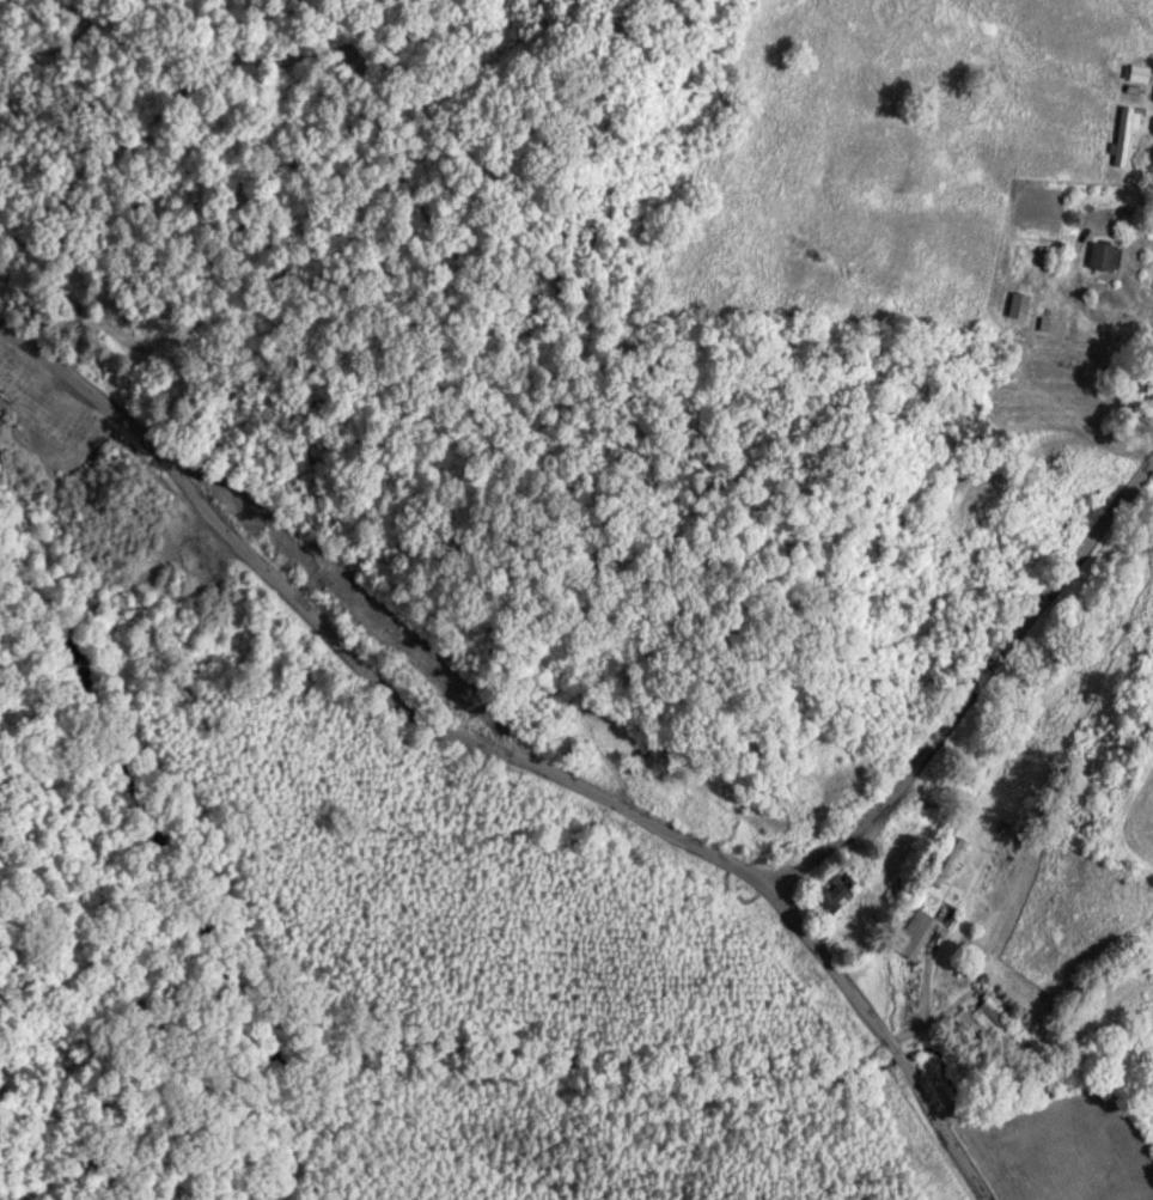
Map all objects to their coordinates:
building: (1135, 73)
building: (1120, 136)
building: (1099, 257)
building: (1013, 306)
building: (1048, 325)
road: (972, 686)
road: (511, 753)
building: (637, 756)
building: (951, 861)
building: (910, 933)

